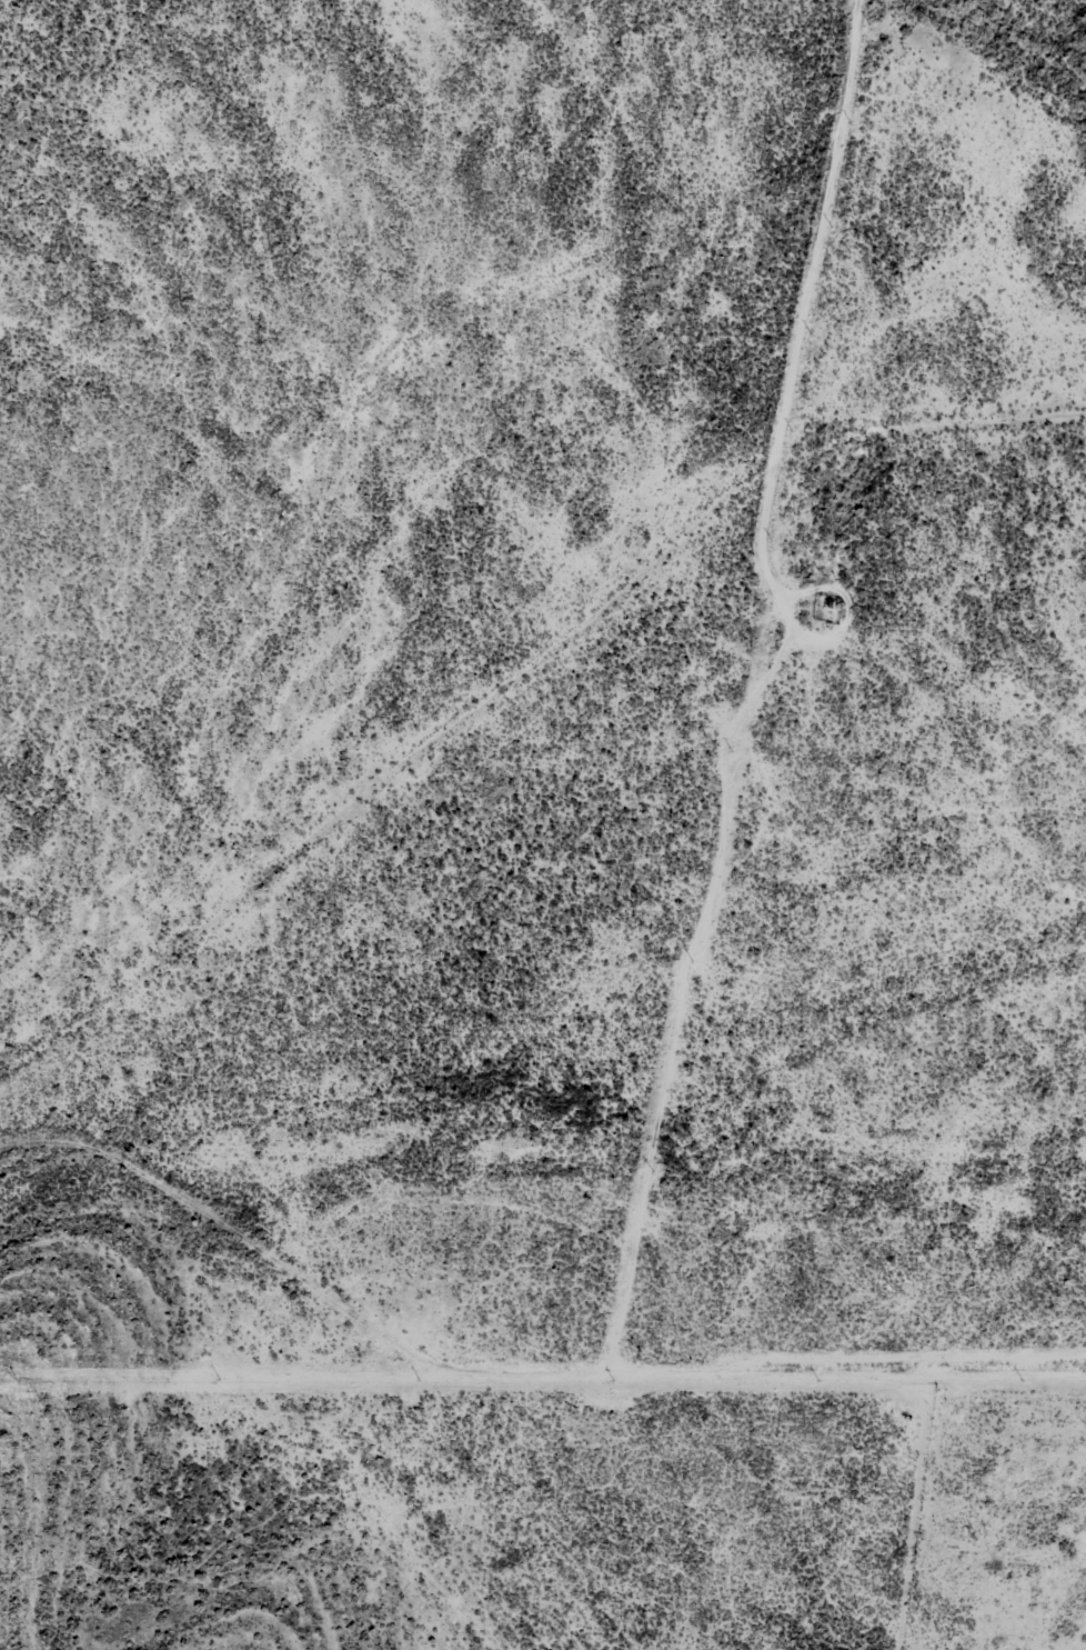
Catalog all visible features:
road: (515, 686)

